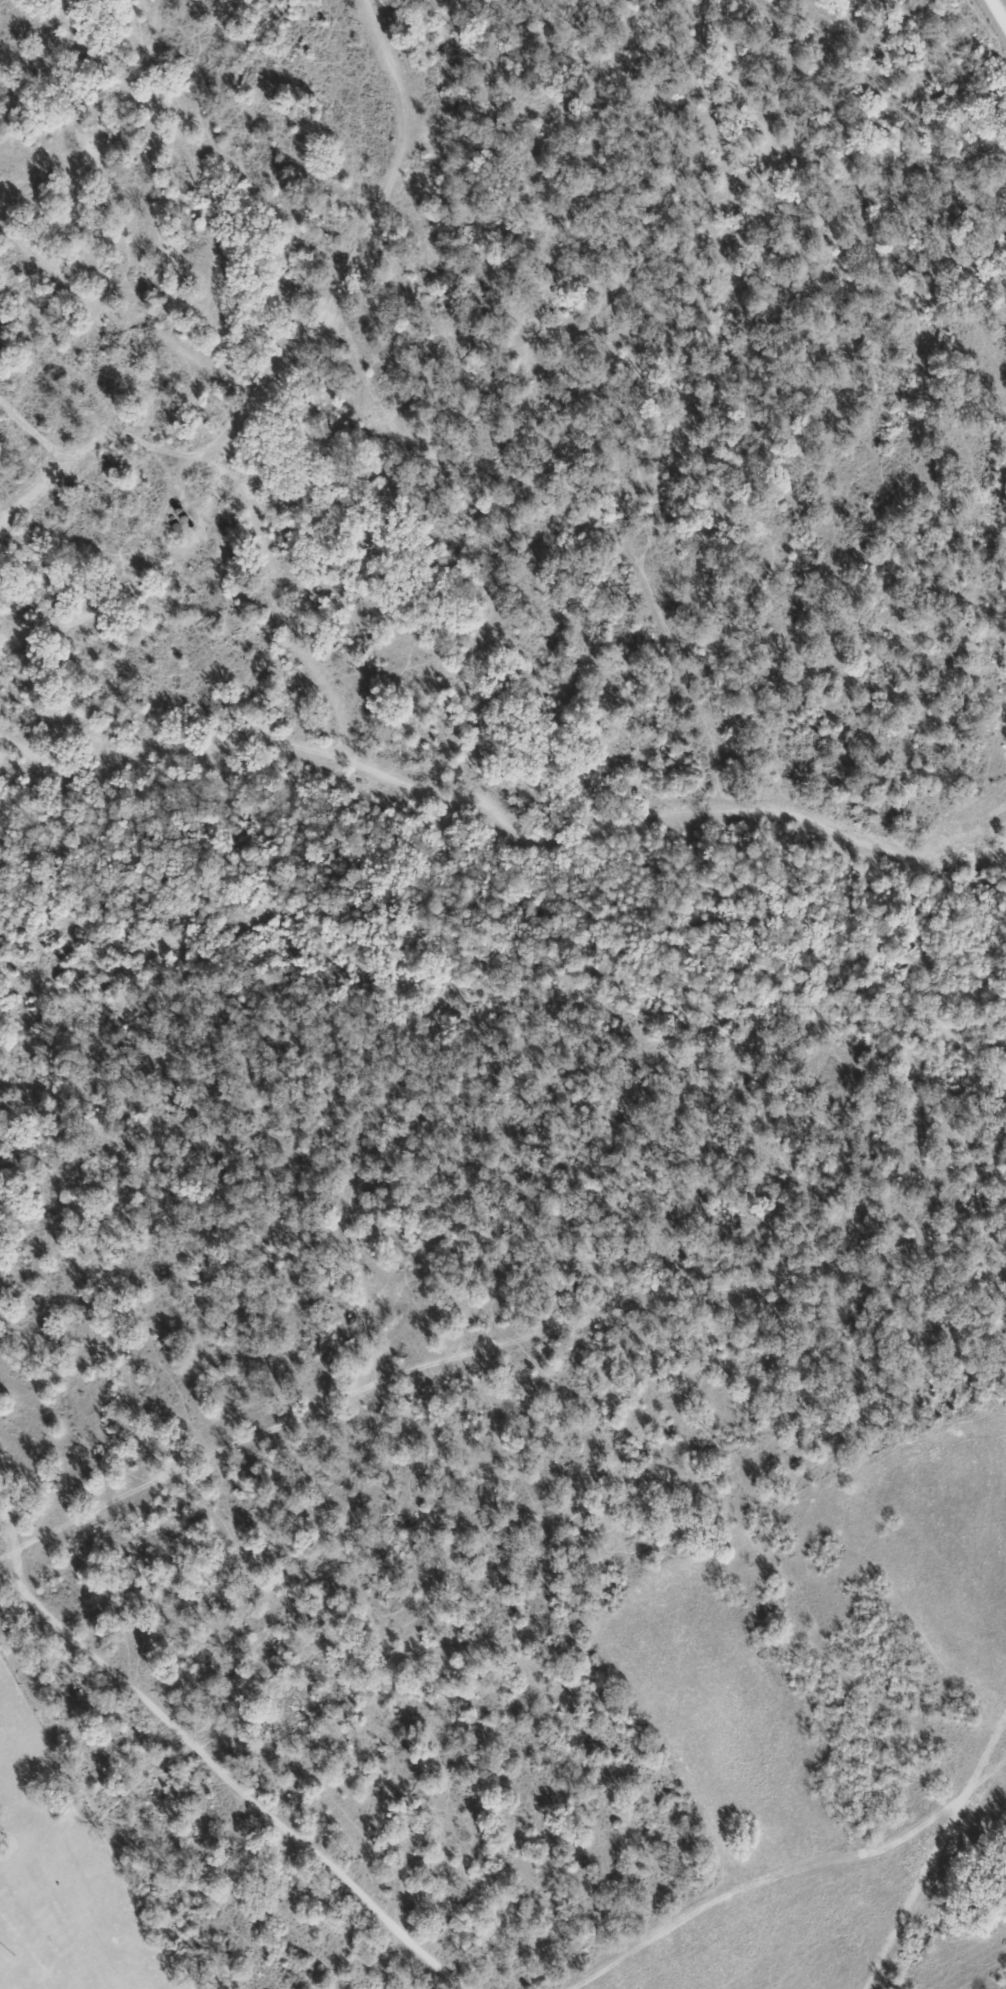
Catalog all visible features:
road: (1004, 1)

